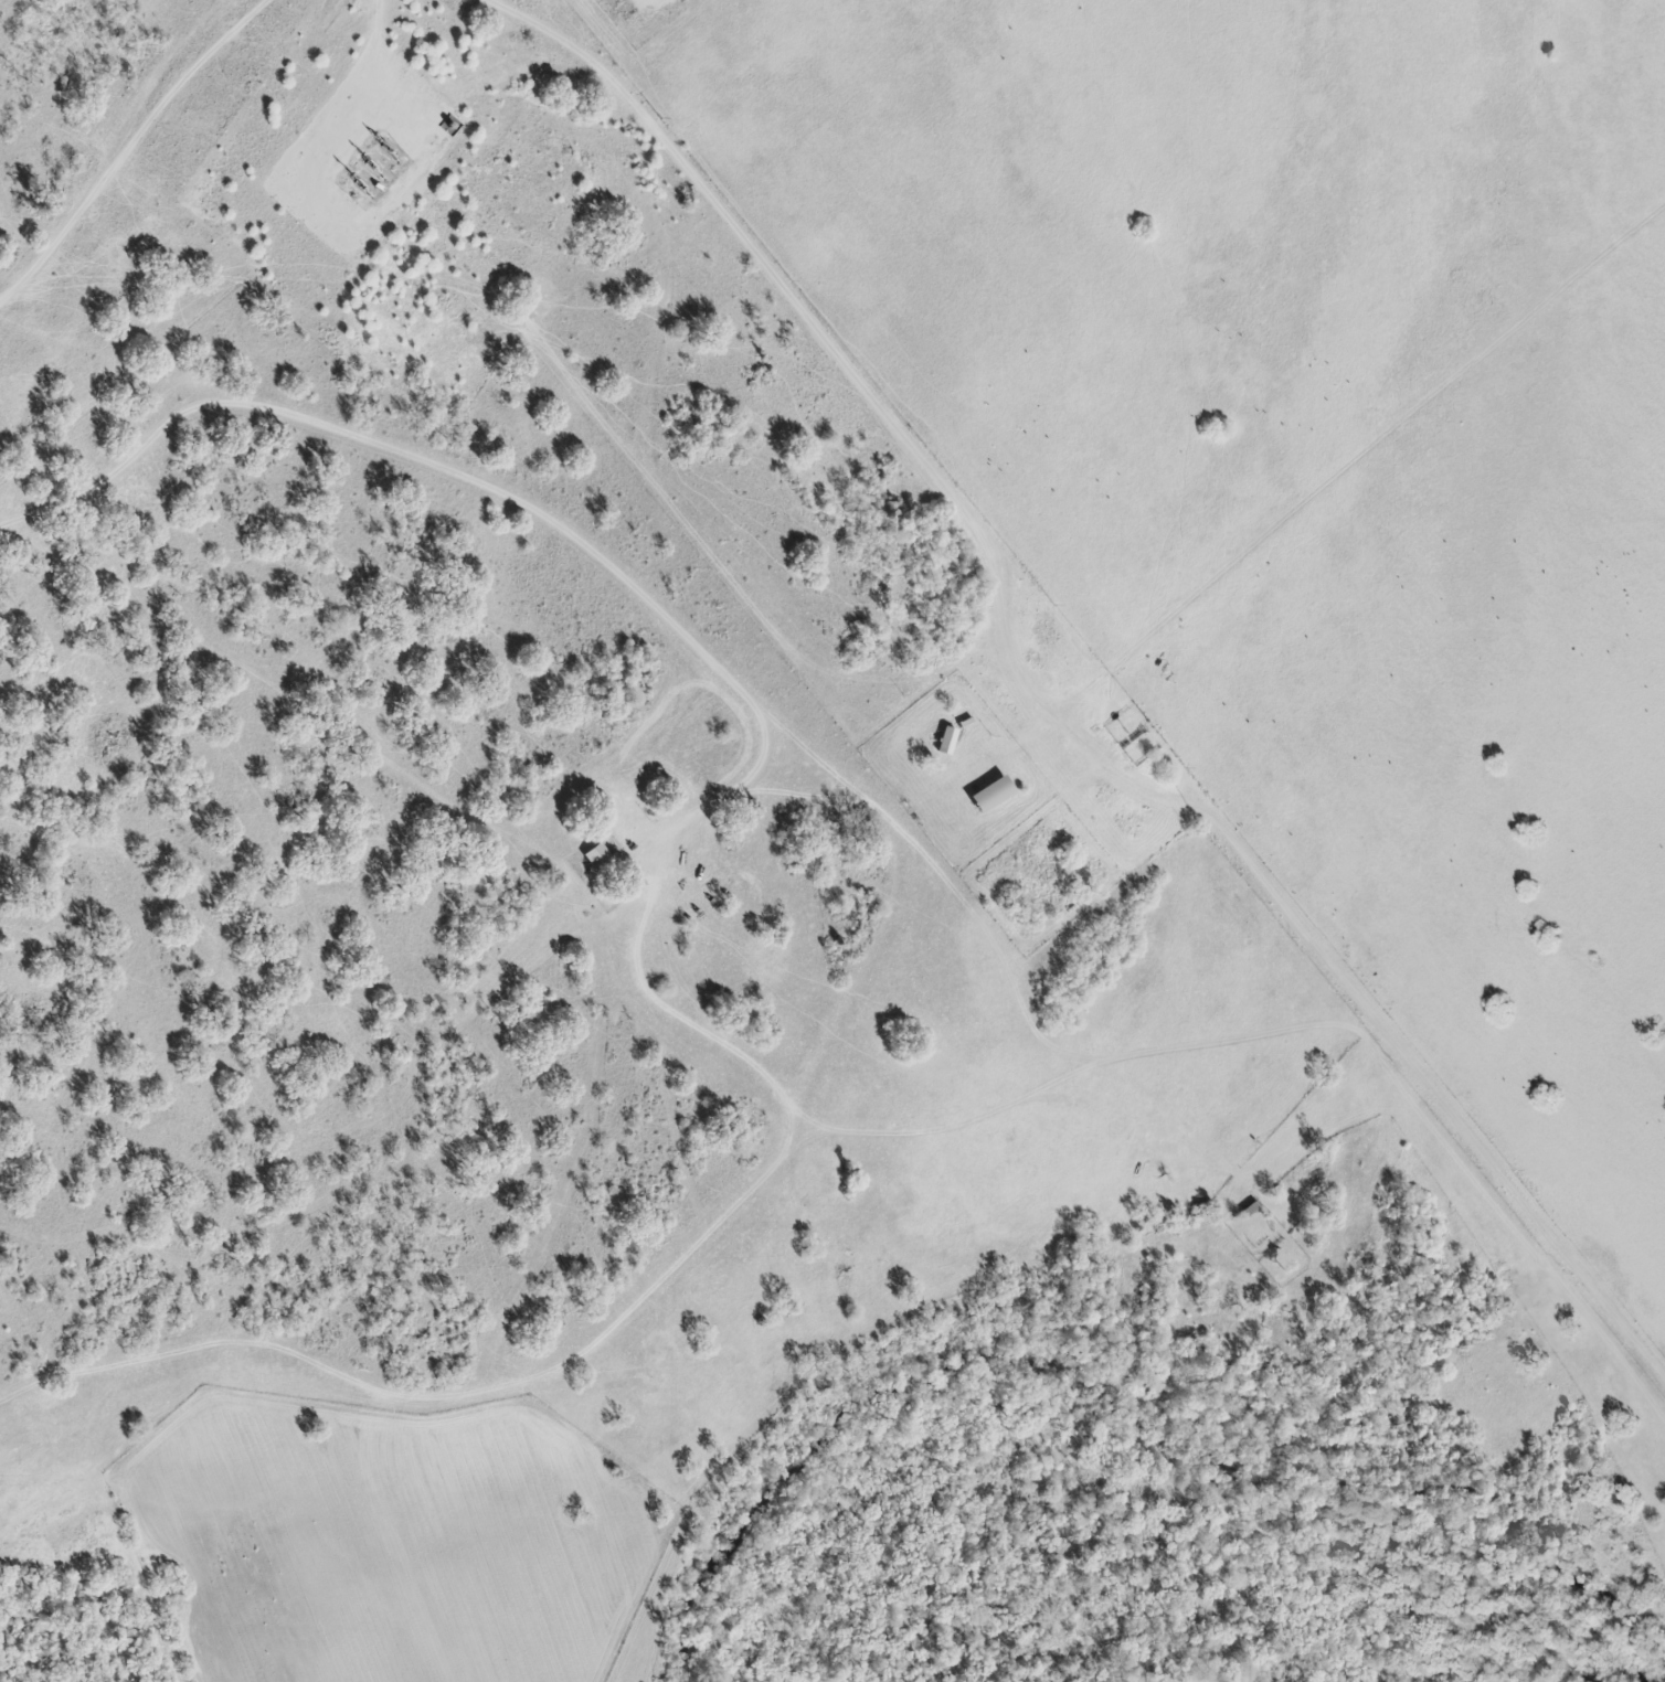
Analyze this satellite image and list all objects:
road: (369, 103)
road: (126, 146)
road: (830, 351)
road: (139, 446)
road: (603, 563)
building: (944, 743)
building: (989, 796)
building: (602, 863)
road: (1398, 1040)
river: (900, 1392)
river: (1488, 1502)

